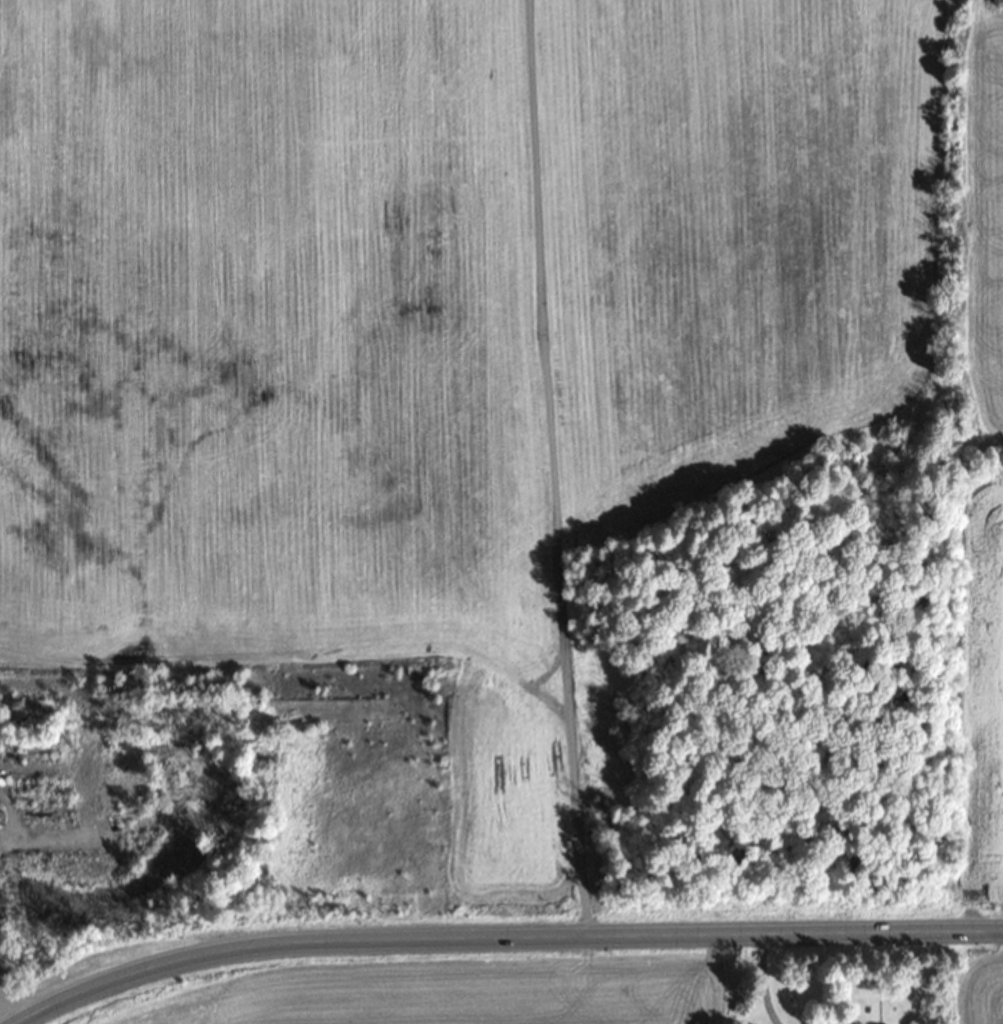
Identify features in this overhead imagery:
road: (499, 937)
road: (766, 980)
road: (8, 1005)

